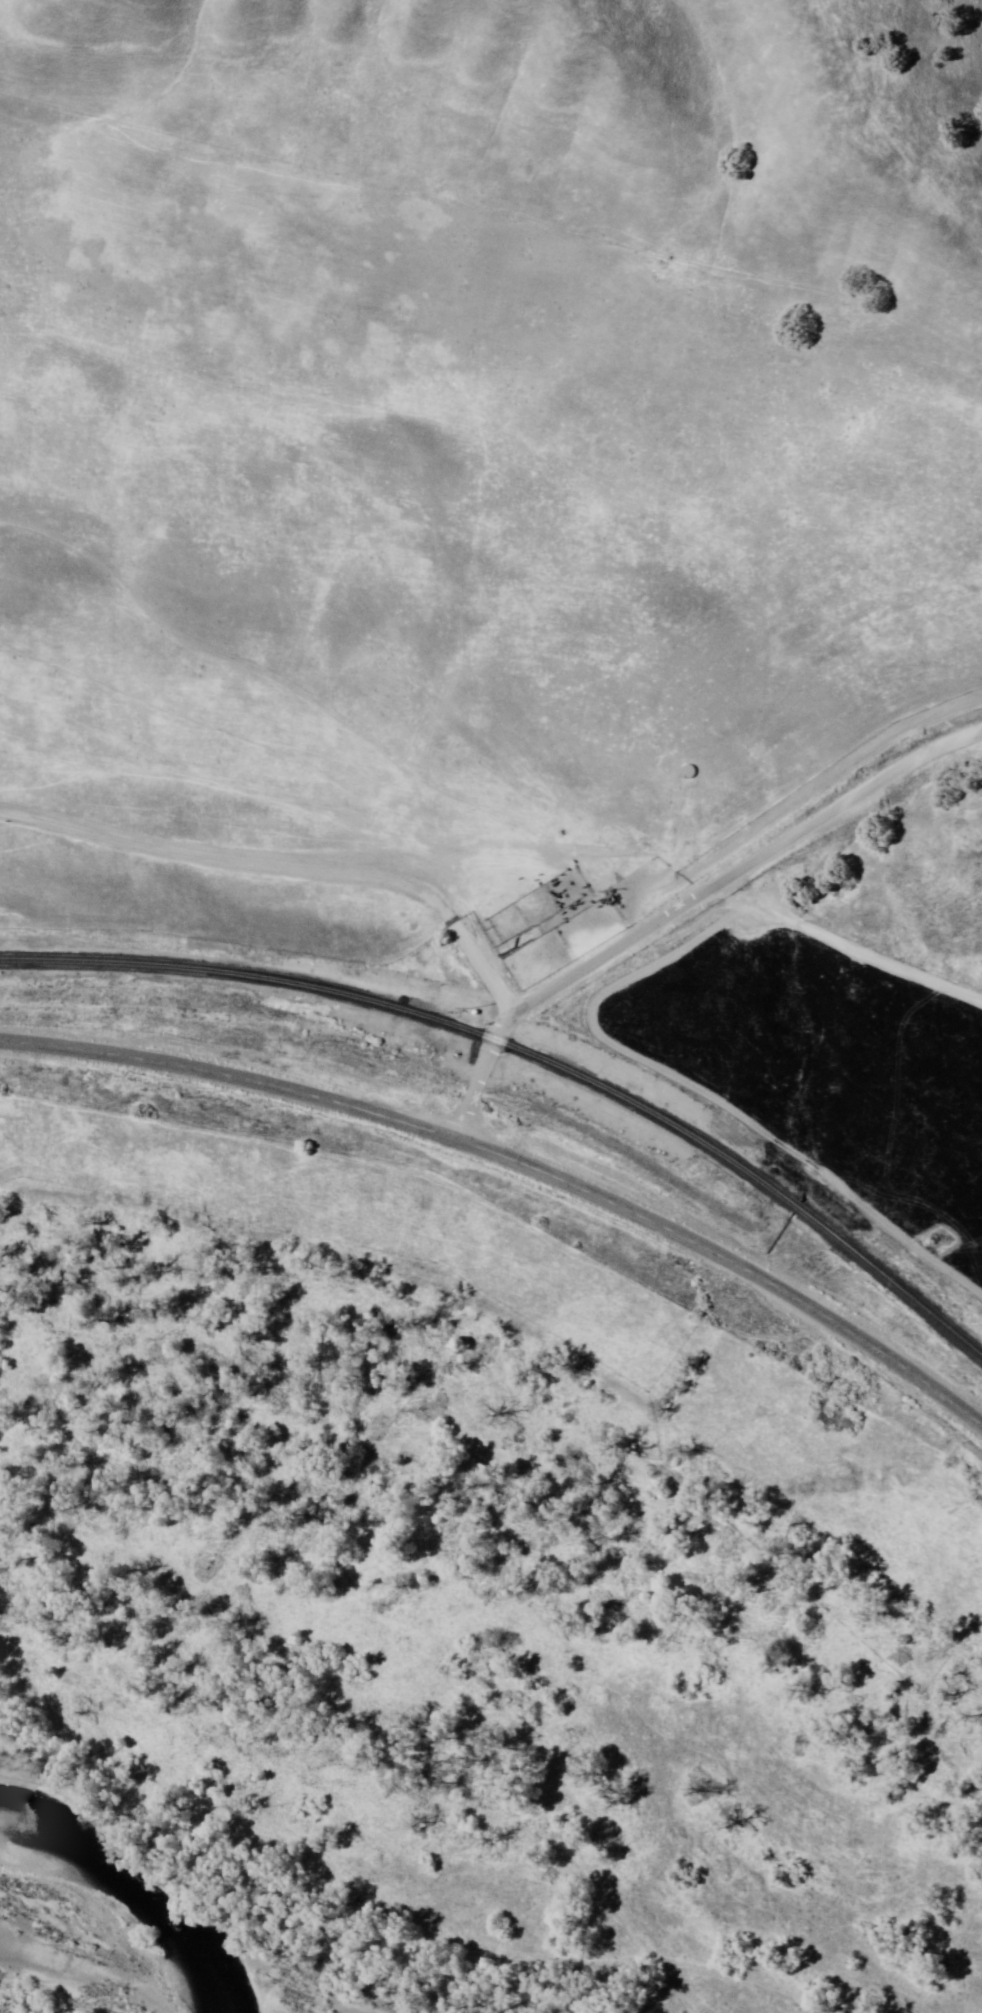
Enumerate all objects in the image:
road: (495, 143)
road: (287, 863)
road: (686, 908)
road: (851, 944)
railway: (531, 1056)
road: (519, 1163)
park: (475, 1562)
river: (86, 1988)

